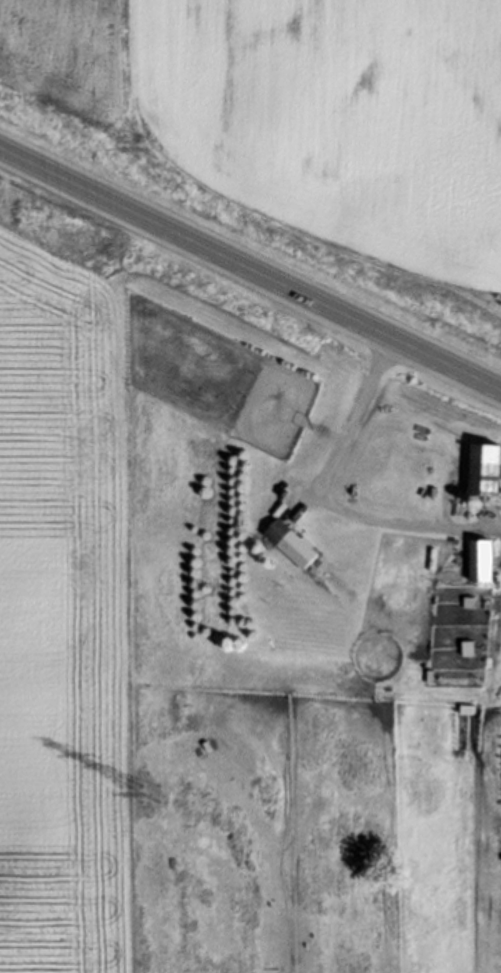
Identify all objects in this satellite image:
power tower: (145, 148)
road: (250, 269)
building: (482, 468)
building: (288, 542)
building: (477, 559)
building: (464, 647)
power tower: (149, 793)

